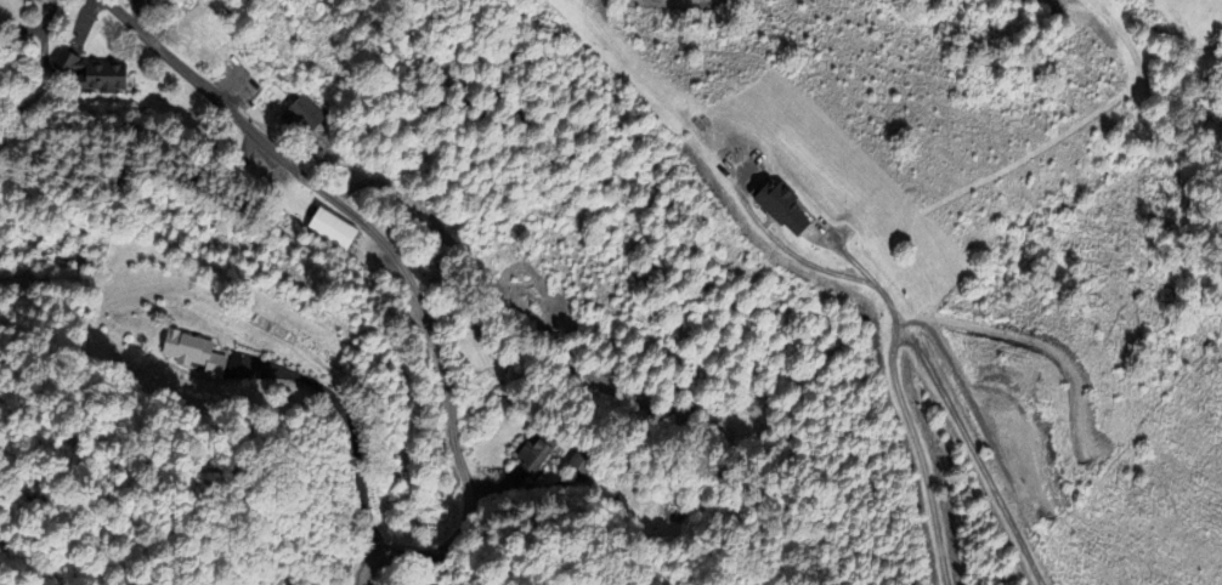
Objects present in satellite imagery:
building: (205, 28)
road: (44, 41)
building: (92, 74)
road: (204, 90)
building: (304, 118)
building: (330, 229)
road: (777, 244)
road: (843, 250)
building: (182, 348)
road: (447, 392)
road: (351, 422)
road: (911, 427)
building: (530, 451)
road: (973, 451)
building: (577, 460)

